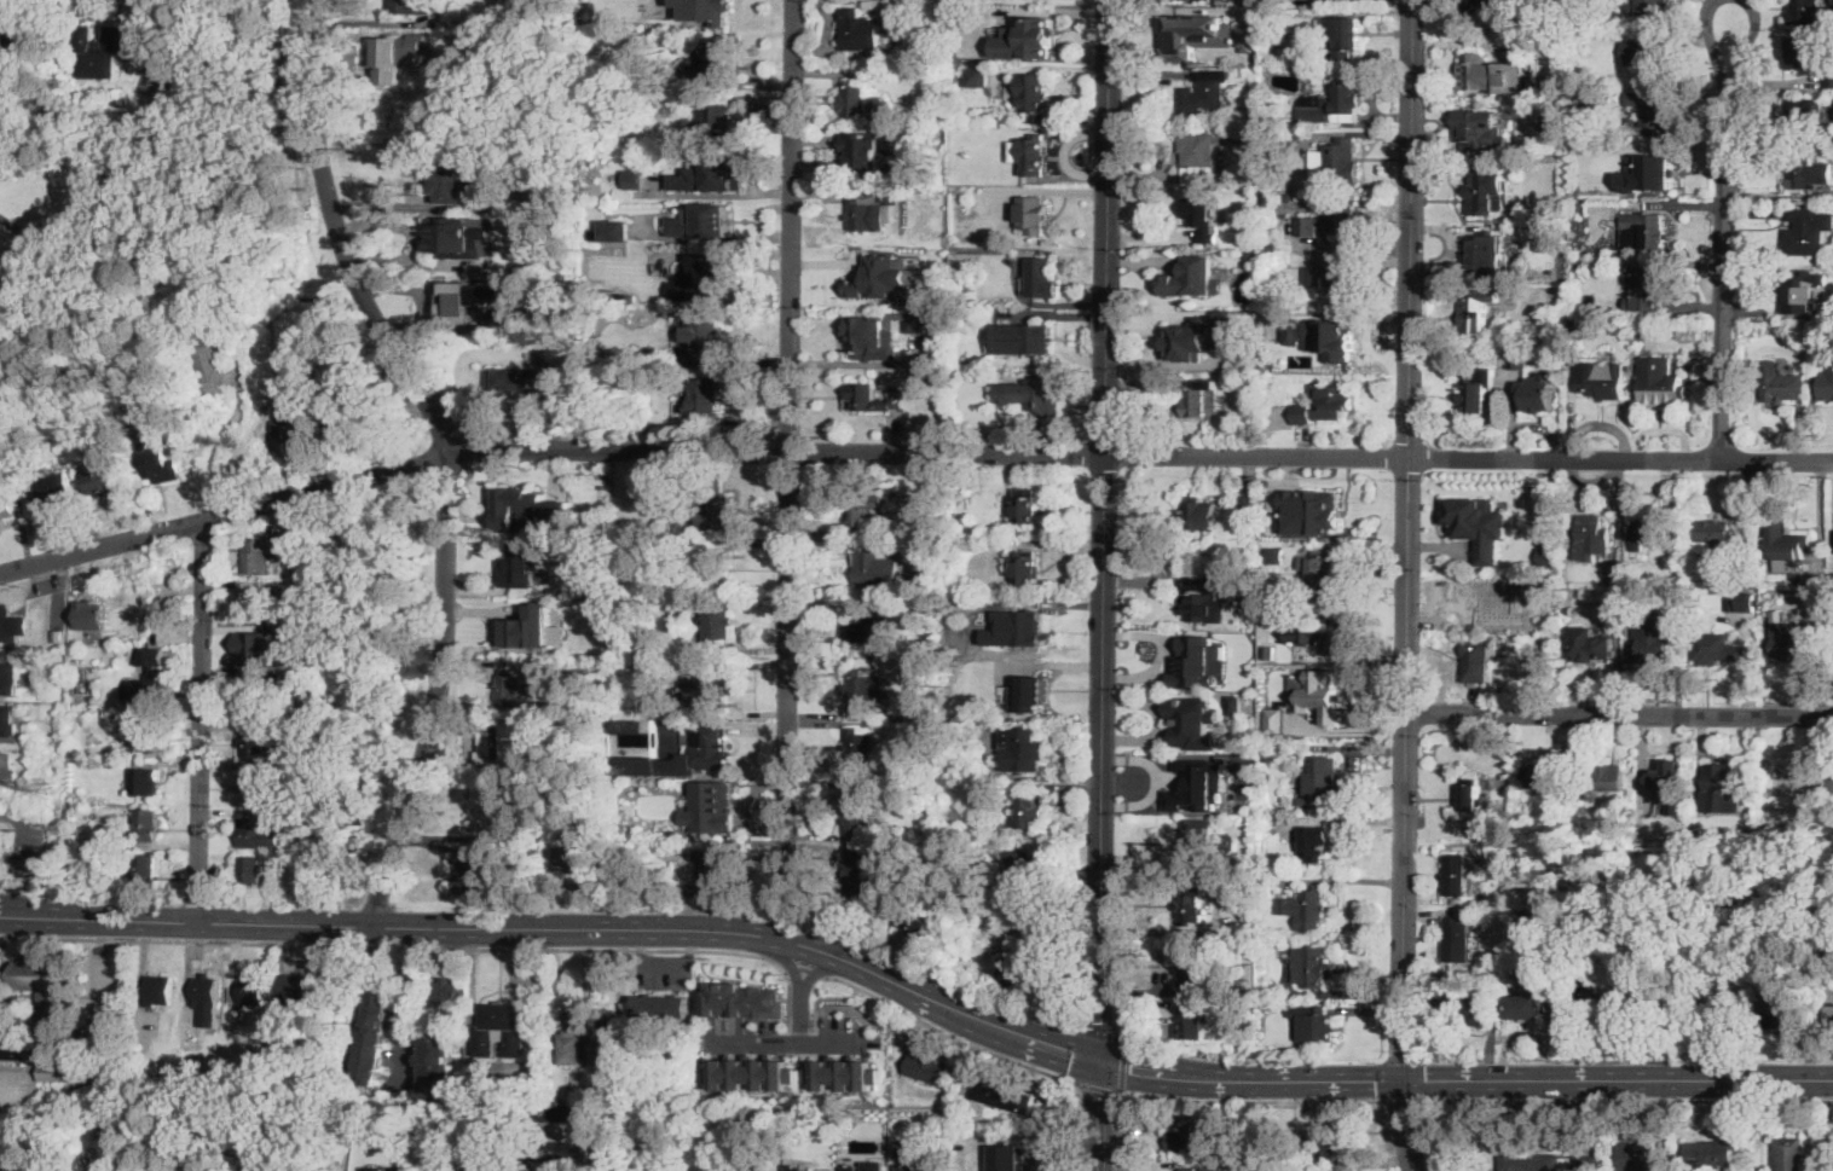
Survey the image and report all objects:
building: (960, 0)
building: (1486, 2)
building: (403, 6)
building: (1649, 8)
building: (715, 10)
building: (1810, 12)
building: (1280, 16)
building: (526, 18)
building: (659, 21)
building: (862, 30)
building: (1193, 33)
building: (30, 35)
building: (1248, 36)
building: (1345, 36)
building: (1025, 39)
building: (497, 48)
road: (162, 50)
building: (1642, 50)
building: (98, 51)
building: (1806, 53)
building: (1658, 54)
building: (392, 58)
building: (710, 63)
building: (1257, 64)
building: (1478, 74)
building: (983, 75)
building: (1829, 79)
building: (1205, 92)
building: (1034, 94)
building: (1828, 94)
building: (852, 99)
building: (1332, 104)
building: (1654, 111)
building: (931, 115)
building: (711, 116)
building: (1804, 118)
building: (756, 122)
building: (1632, 122)
building: (1259, 126)
building: (1482, 132)
building: (941, 139)
building: (1030, 153)
building: (857, 157)
building: (1199, 157)
building: (1336, 161)
building: (1653, 169)
building: (1806, 172)
building: (713, 175)
road: (284, 176)
building: (636, 178)
road: (137, 181)
building: (450, 181)
building: (1482, 191)
building: (1289, 195)
road: (409, 205)
building: (1579, 205)
building: (872, 210)
building: (705, 213)
building: (1034, 214)
building: (1202, 218)
building: (1322, 224)
building: (615, 228)
building: (1272, 230)
building: (1642, 231)
park: (204, 232)
building: (1806, 232)
building: (462, 237)
building: (1284, 245)
road: (1727, 247)
building: (1251, 250)
building: (1569, 253)
building: (1485, 254)
building: (1579, 263)
road: (30, 269)
building: (1191, 277)
building: (881, 278)
building: (1041, 278)
building: (702, 280)
building: (1332, 280)
building: (681, 284)
building: (1650, 289)
building: (1798, 294)
building: (1475, 312)
building: (941, 314)
building: (1575, 325)
building: (1293, 331)
building: (1197, 335)
building: (702, 336)
building: (868, 336)
building: (1022, 336)
building: (1330, 337)
building: (215, 352)
building: (1810, 353)
road: (1167, 360)
building: (1517, 360)
building: (521, 378)
building: (1257, 379)
building: (1602, 382)
building: (1663, 382)
building: (929, 383)
building: (1780, 383)
building: (1826, 384)
building: (860, 393)
building: (1475, 393)
building: (1035, 395)
building: (1539, 395)
building: (705, 398)
building: (1336, 398)
building: (1199, 399)
building: (1302, 413)
building: (297, 424)
road: (482, 428)
power tower: (231, 444)
road: (219, 448)
road: (908, 451)
road: (449, 453)
building: (158, 464)
road: (787, 470)
building: (99, 480)
building: (59, 487)
building: (36, 499)
building: (1249, 503)
building: (1027, 505)
building: (6, 506)
building: (528, 506)
building: (1322, 508)
building: (867, 510)
building: (675, 511)
building: (715, 512)
building: (1199, 514)
building: (649, 520)
building: (1268, 528)
road: (1103, 529)
building: (1648, 533)
building: (1712, 534)
building: (1481, 537)
building: (1594, 537)
road: (1407, 540)
building: (1782, 541)
building: (935, 544)
building: (1273, 549)
building: (258, 556)
building: (279, 556)
building: (1546, 556)
building: (935, 558)
building: (1215, 560)
building: (519, 567)
building: (717, 567)
building: (868, 567)
building: (1024, 569)
building: (1320, 570)
building: (1613, 573)
building: (1748, 580)
building: (1815, 580)
building: (1201, 595)
building: (1636, 601)
building: (1733, 601)
building: (1474, 603)
building: (1748, 603)
building: (255, 604)
building: (937, 607)
building: (1568, 609)
building: (92, 615)
building: (715, 621)
building: (872, 624)
building: (13, 627)
building: (1014, 627)
building: (532, 628)
building: (1319, 632)
building: (58, 637)
building: (1653, 638)
building: (1796, 644)
building: (254, 647)
building: (1596, 647)
building: (1718, 648)
building: (1195, 660)
building: (1479, 660)
building: (516, 663)
building: (909, 665)
building: (955, 674)
building: (10, 677)
park: (364, 678)
building: (148, 680)
building: (511, 682)
building: (705, 690)
building: (861, 691)
building: (671, 692)
building: (1030, 694)
building: (1317, 694)
building: (254, 695)
building: (1236, 703)
building: (1270, 709)
road: (1620, 713)
road: (200, 721)
building: (1195, 721)
building: (634, 725)
building: (6, 727)
building: (145, 736)
building: (254, 742)
building: (511, 743)
building: (858, 746)
building: (709, 749)
building: (1024, 749)
building: (6, 766)
building: (866, 767)
building: (1542, 776)
building: (1791, 777)
building: (1606, 778)
building: (1317, 779)
building: (1503, 779)
building: (143, 781)
building: (1667, 781)
building: (1195, 783)
power tower: (46, 786)
building: (253, 786)
building: (1724, 787)
building: (79, 794)
building: (1471, 795)
building: (486, 807)
building: (712, 808)
building: (858, 810)
building: (1029, 810)
building: (1294, 812)
building: (1768, 816)
building: (146, 825)
building: (932, 833)
building: (251, 834)
building: (1197, 836)
building: (76, 837)
building: (105, 839)
building: (1, 840)
building: (1314, 844)
building: (580, 859)
building: (79, 860)
building: (1029, 868)
building: (251, 869)
building: (469, 869)
building: (145, 871)
building: (713, 873)
building: (858, 873)
building: (933, 874)
building: (1457, 875)
building: (1191, 905)
building: (1306, 909)
road: (183, 923)
building: (916, 923)
building: (1458, 940)
road: (197, 941)
road: (414, 946)
road: (641, 949)
road: (791, 964)
building: (1191, 966)
building: (1312, 967)
road: (805, 968)
road: (814, 972)
building: (1022, 973)
road: (889, 981)
building: (161, 990)
building: (297, 991)
building: (247, 992)
building: (447, 995)
road: (822, 996)
building: (201, 1001)
building: (744, 1001)
building: (1268, 1004)
building: (1615, 1004)
road: (405, 1005)
building: (1708, 1005)
building: (660, 1007)
building: (1526, 1007)
building: (1462, 1008)
building: (1782, 1010)
building: (1829, 1015)
road: (800, 1019)
building: (45, 1020)
building: (1190, 1021)
building: (1314, 1021)
road: (1093, 1027)
building: (501, 1030)
road: (949, 1032)
building: (376, 1038)
building: (585, 1038)
road: (787, 1044)
road: (1075, 1050)
road: (324, 1057)
road: (1404, 1057)
traffic signals: (1101, 1061)
road: (1123, 1063)
building: (435, 1067)
building: (927, 1068)
building: (747, 1074)
building: (840, 1076)
road: (1422, 1078)
road: (1386, 1079)
road: (1618, 1080)
traffic signals: (1403, 1082)
road: (1097, 1086)
road: (15, 1092)
building: (1002, 1095)
road: (1404, 1098)
road: (1253, 1100)
road: (1627, 1100)
building: (560, 1111)
building: (636, 1112)
building: (53, 1115)
road: (1099, 1115)
building: (1239, 1118)
building: (1768, 1125)
road: (1404, 1126)
road: (1117, 1130)
building: (1332, 1131)
building: (1190, 1138)
building: (960, 1143)
building: (559, 1152)
building: (1712, 1153)
road: (600, 1154)
building: (1789, 1154)
building: (1008, 1156)
building: (1638, 1158)
building: (1544, 1160)
building: (874, 1165)
building: (914, 1166)
building: (98, 1167)
building: (127, 1167)
building: (190, 1167)
building: (258, 1167)
building: (284, 1169)
building: (374, 1169)
building: (1186, 1169)

